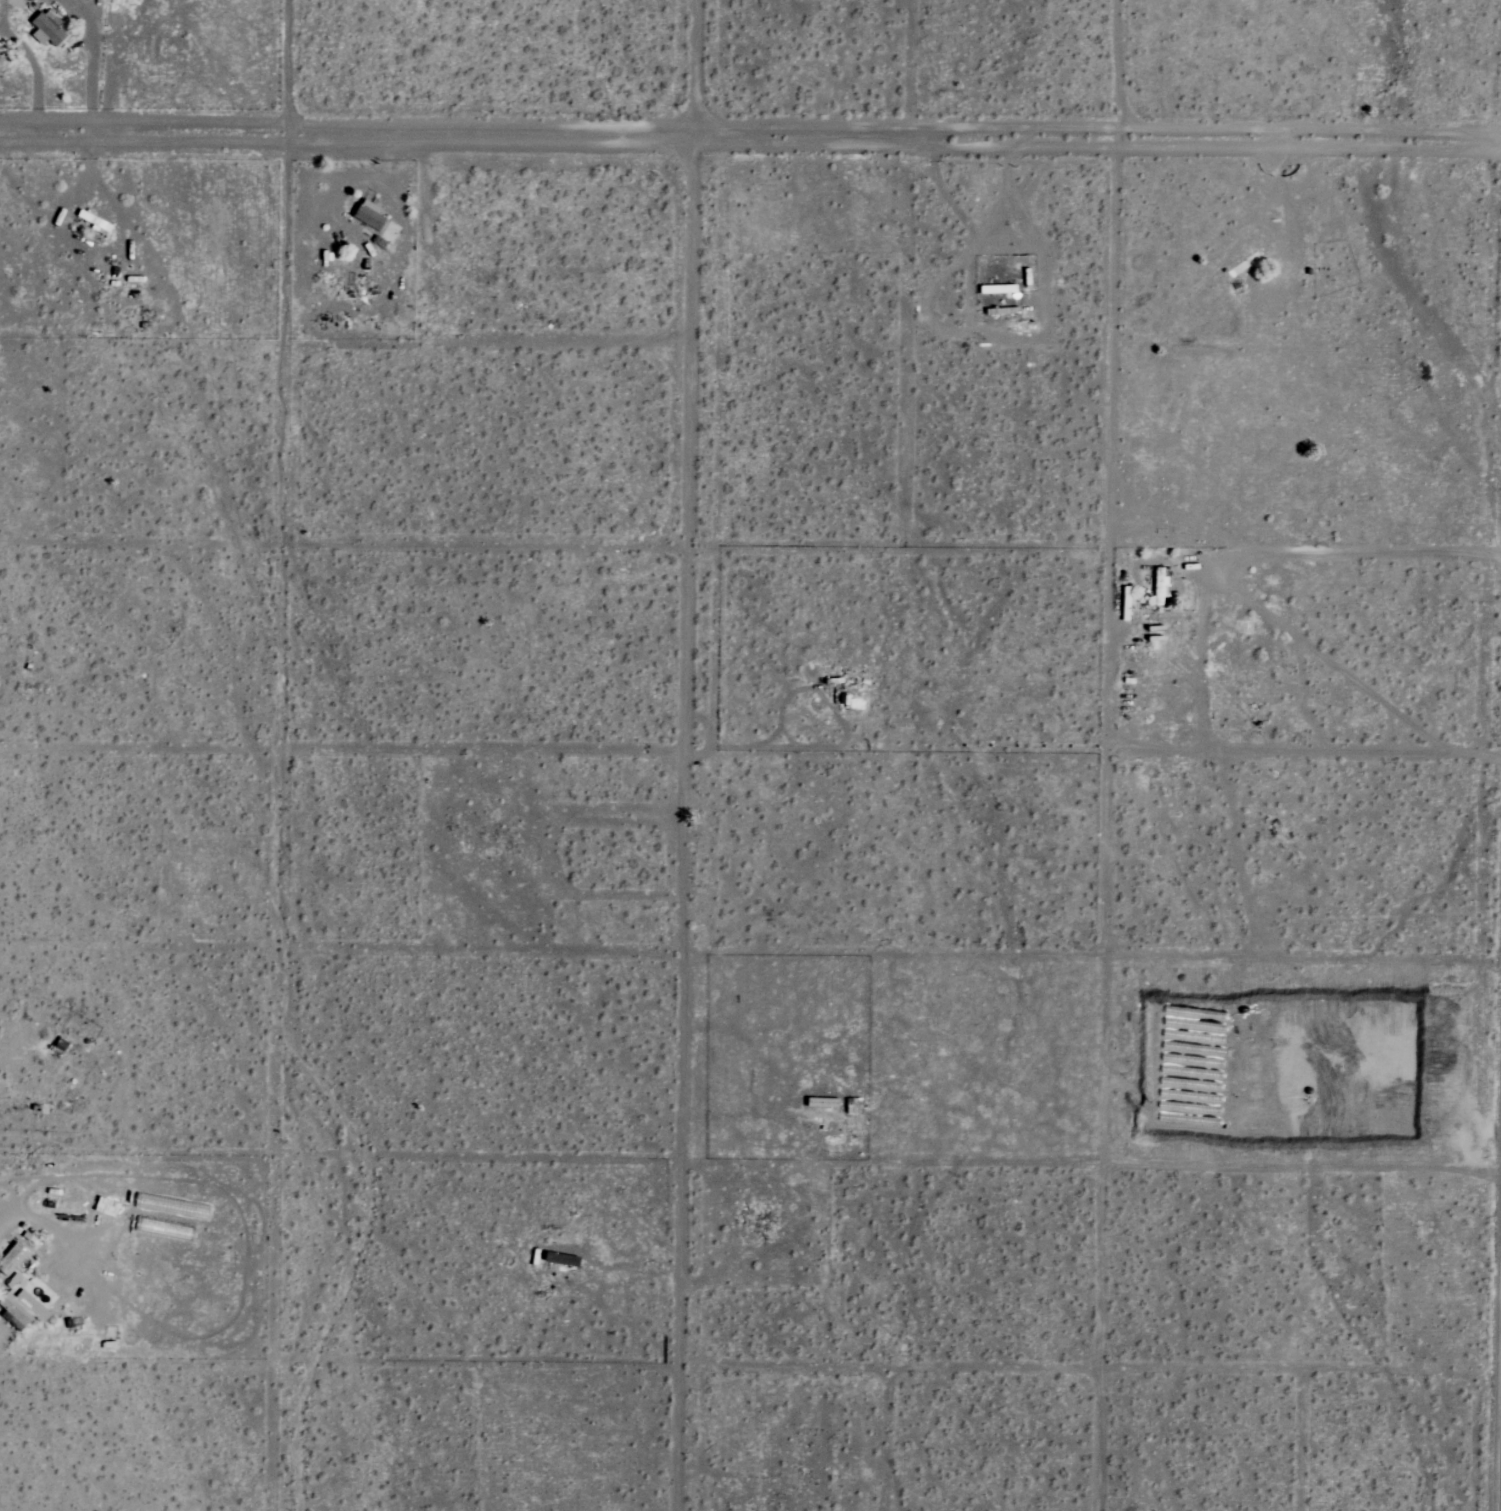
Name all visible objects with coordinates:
building: (46, 28)
road: (282, 65)
road: (690, 69)
road: (750, 139)
building: (376, 220)
road: (1230, 576)
building: (1158, 586)
road: (1108, 634)
road: (1196, 655)
road: (680, 824)
road: (3, 1228)
building: (12, 1259)
building: (26, 1301)

